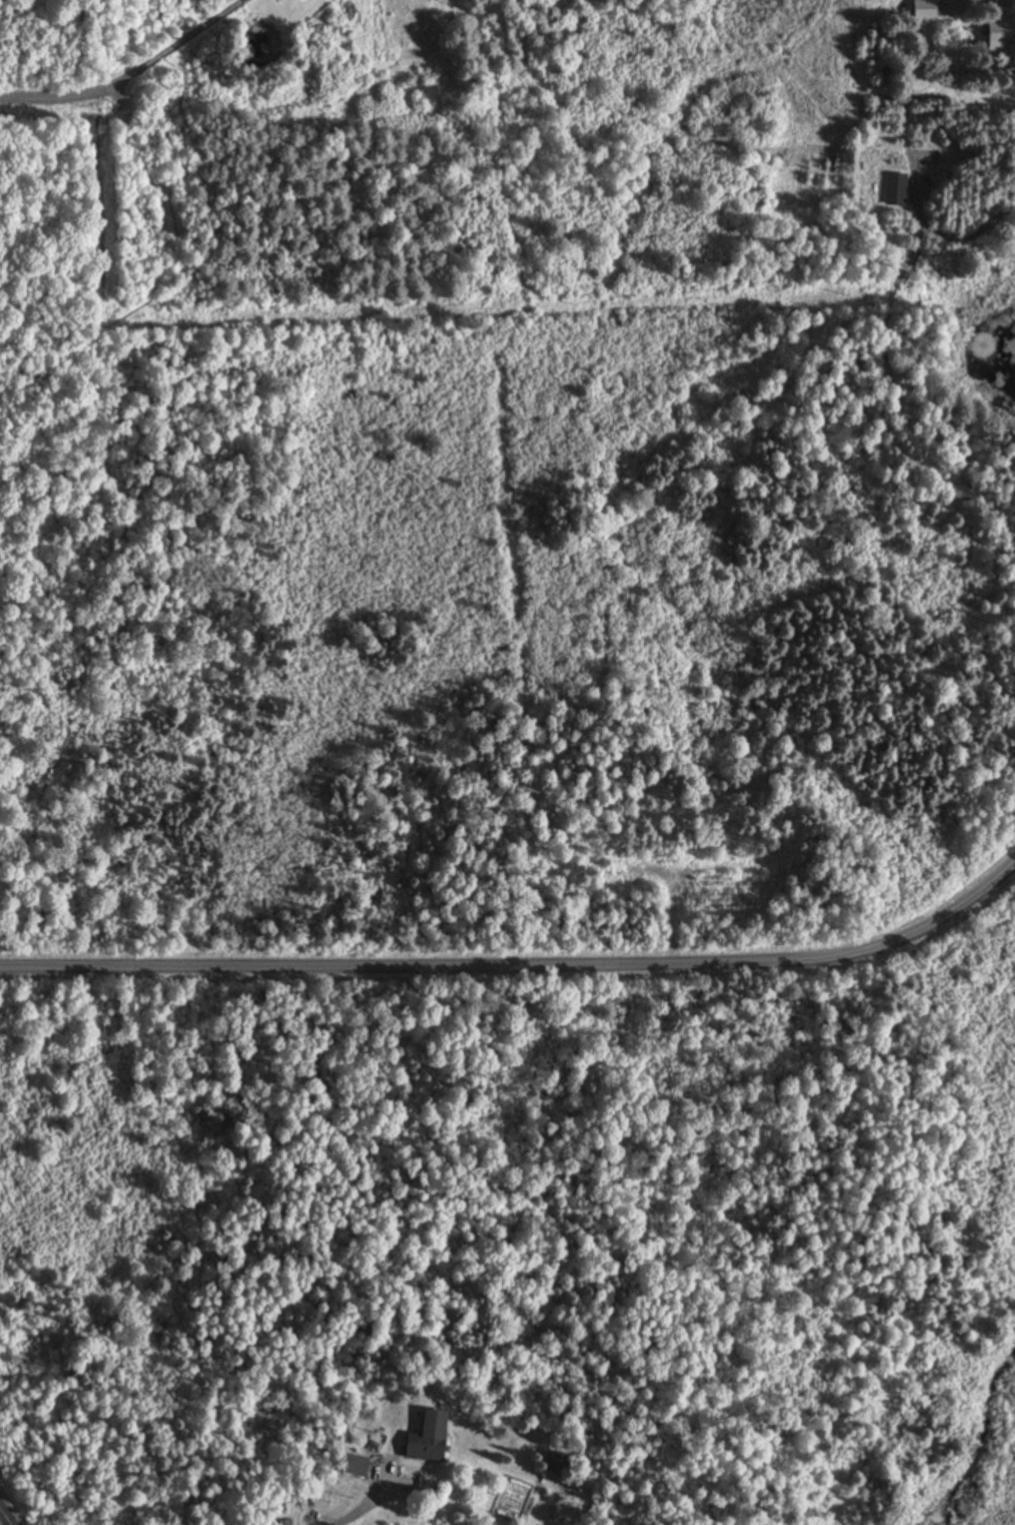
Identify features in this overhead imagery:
building: (924, 10)
building: (1000, 37)
road: (131, 81)
building: (895, 190)
road: (519, 962)
building: (426, 1438)
building: (351, 1465)
road: (7, 1514)

